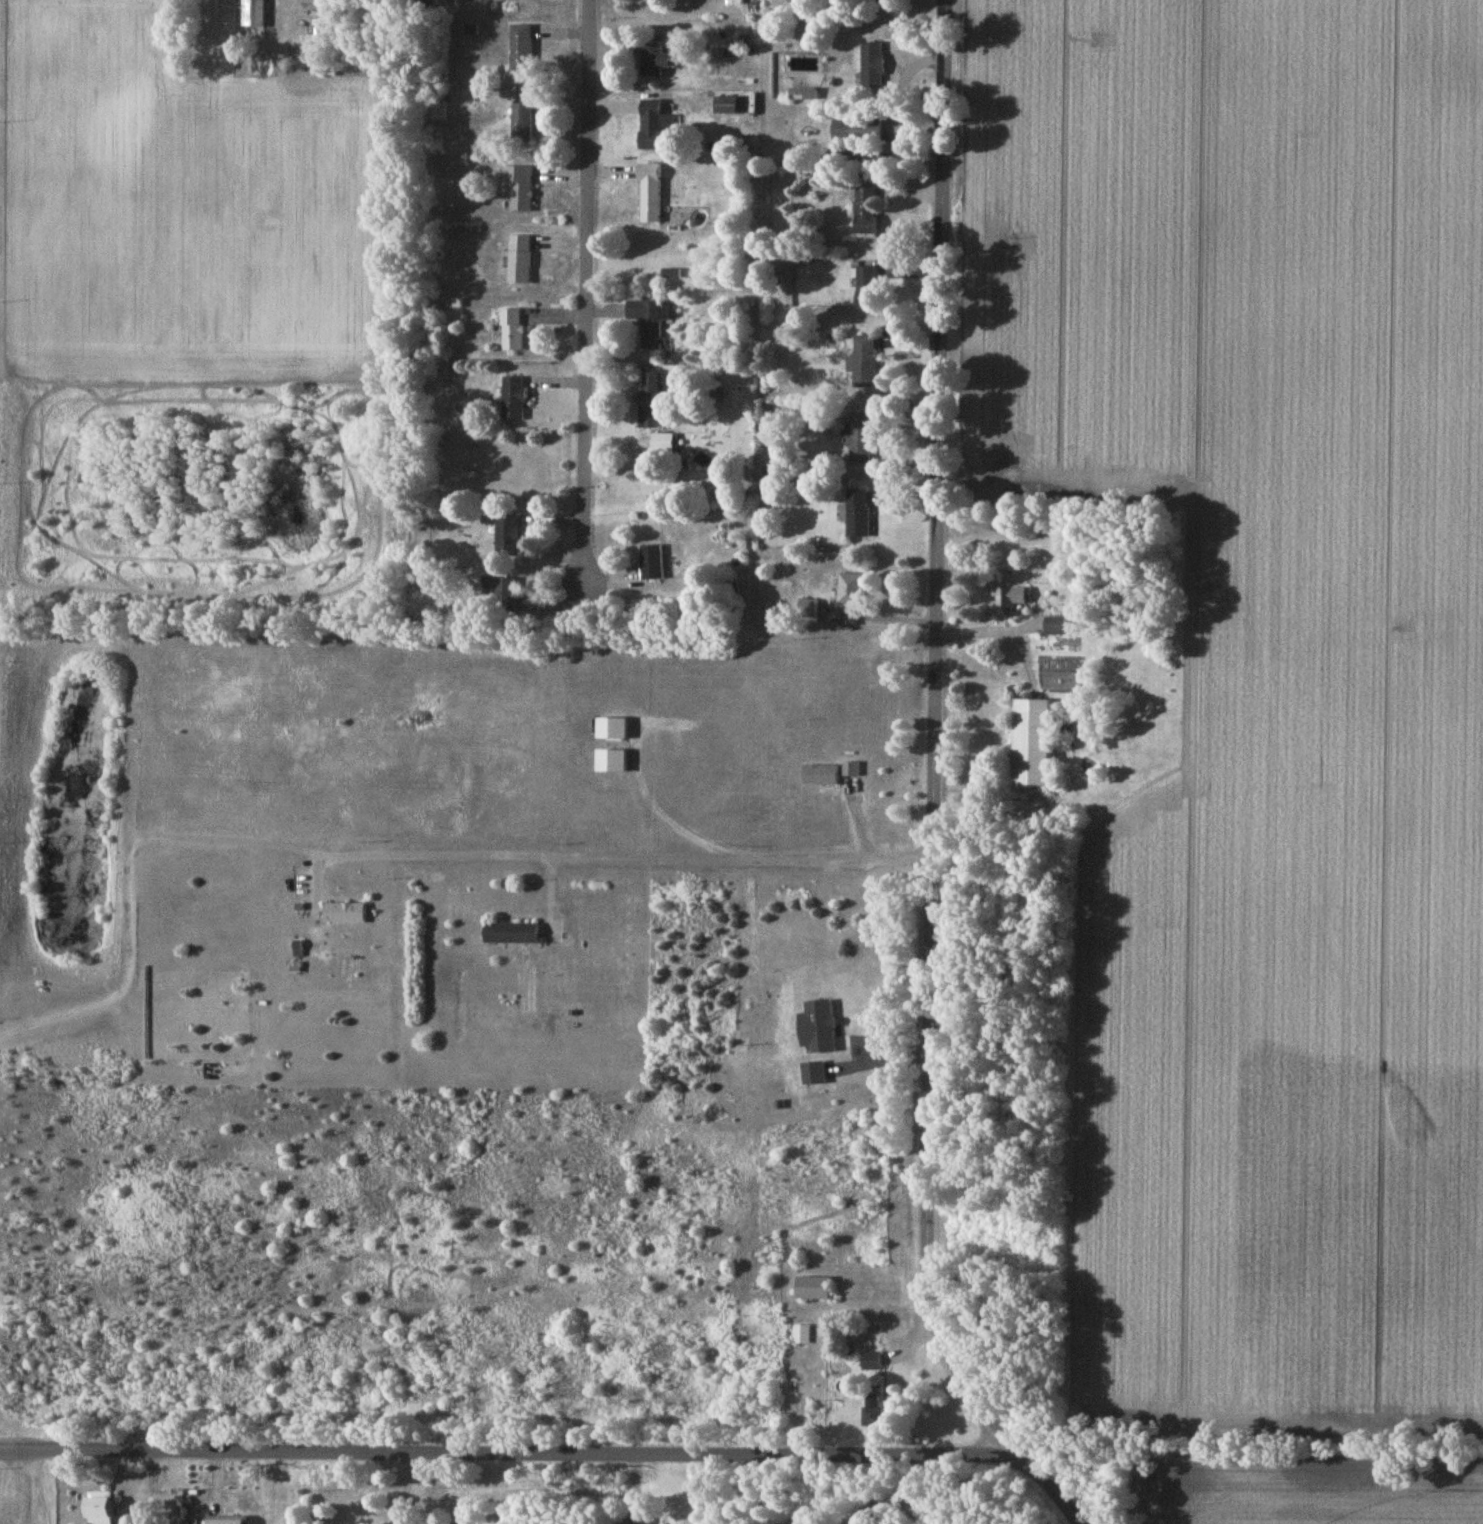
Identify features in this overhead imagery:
road: (582, 311)
building: (513, 329)
building: (864, 361)
building: (514, 397)
building: (652, 397)
building: (861, 439)
building: (664, 442)
building: (859, 513)
building: (508, 535)
building: (653, 561)
building: (851, 589)
building: (505, 590)
building: (1014, 596)
building: (803, 608)
road: (879, 615)
building: (1056, 625)
road: (1006, 629)
building: (614, 727)
building: (1035, 742)
road: (931, 750)
building: (613, 760)
building: (852, 769)
building: (821, 774)
road: (626, 856)
building: (346, 912)
building: (513, 933)
building: (814, 1288)
building: (802, 1334)
building: (871, 1360)
building: (877, 1412)
road: (516, 1458)
road: (1055, 1495)
building: (102, 1507)
building: (238, 1519)

